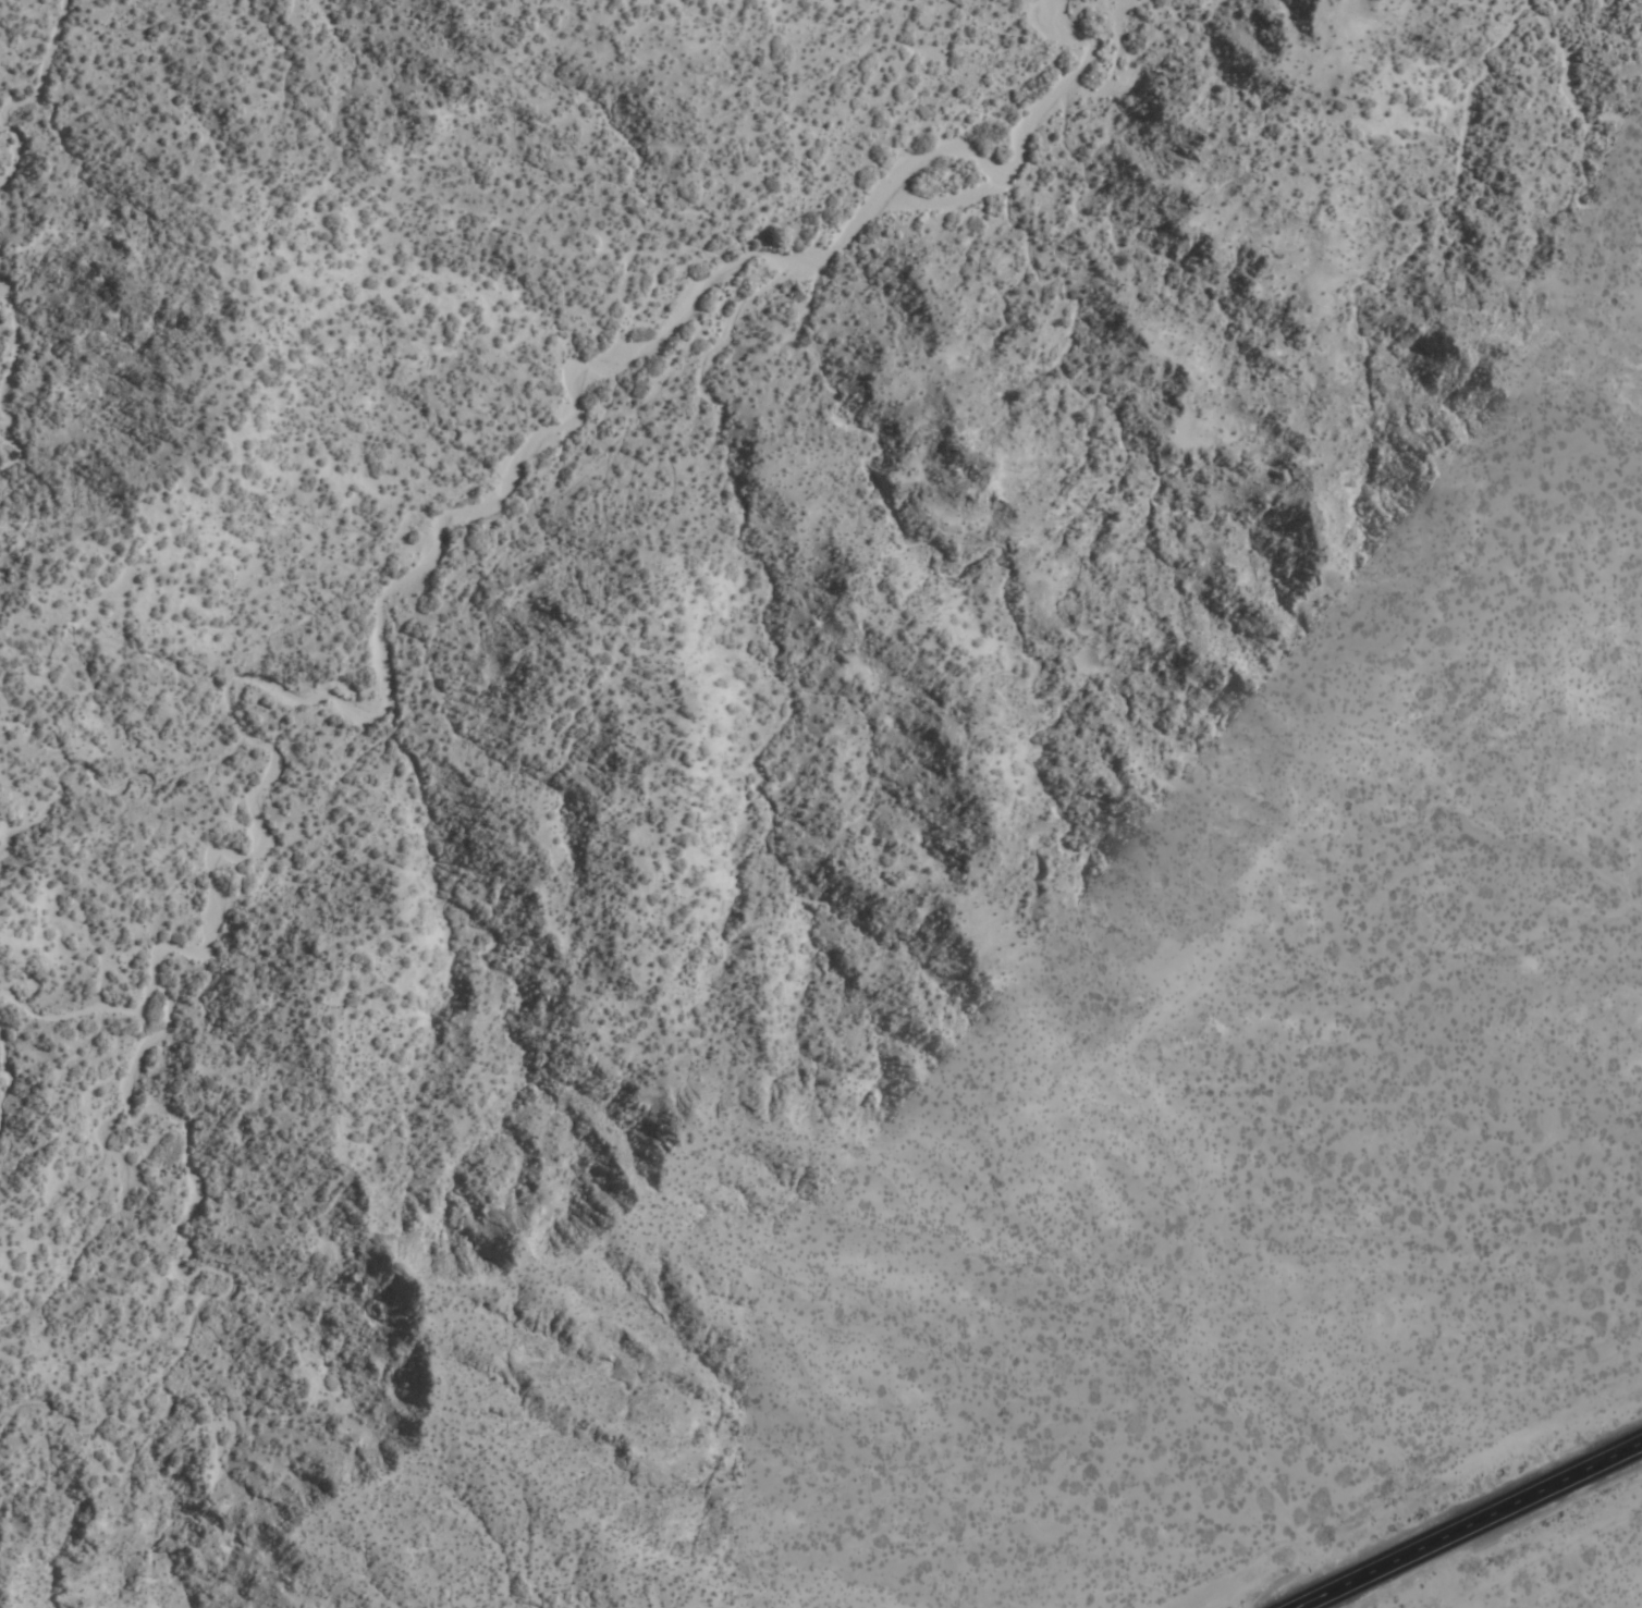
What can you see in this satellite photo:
road: (1466, 1523)

